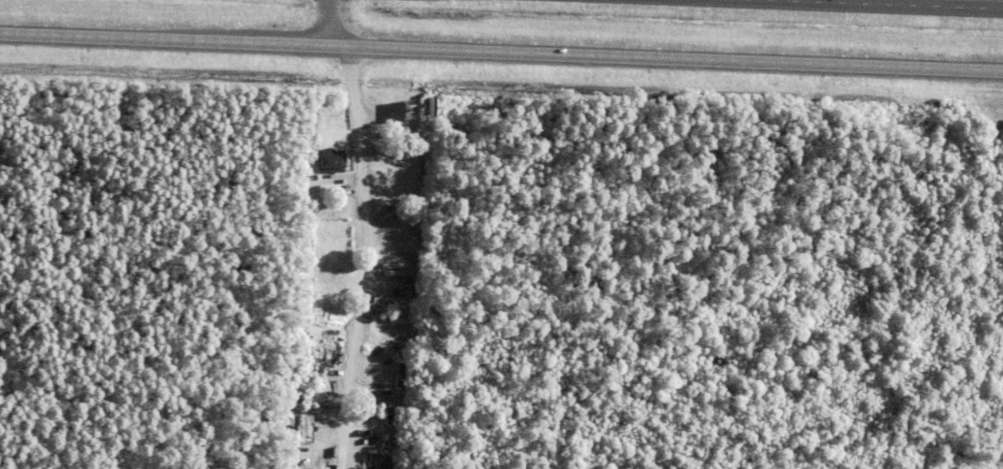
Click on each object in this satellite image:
road: (917, 3)
road: (329, 24)
road: (501, 54)
building: (330, 159)
building: (328, 189)
building: (316, 230)
building: (331, 231)
road: (374, 259)
building: (385, 410)

